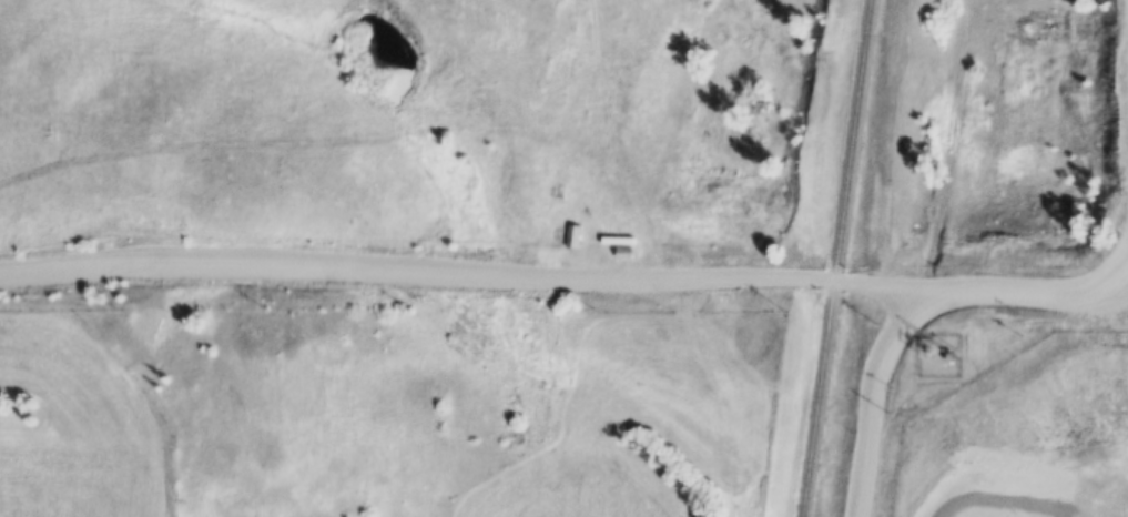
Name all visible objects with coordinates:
building: (573, 234)
building: (626, 251)
railway: (837, 257)
road: (769, 272)
road: (1104, 280)
road: (1101, 300)
road: (896, 327)
power substation: (941, 353)
quarry: (1035, 438)
road: (1045, 478)

